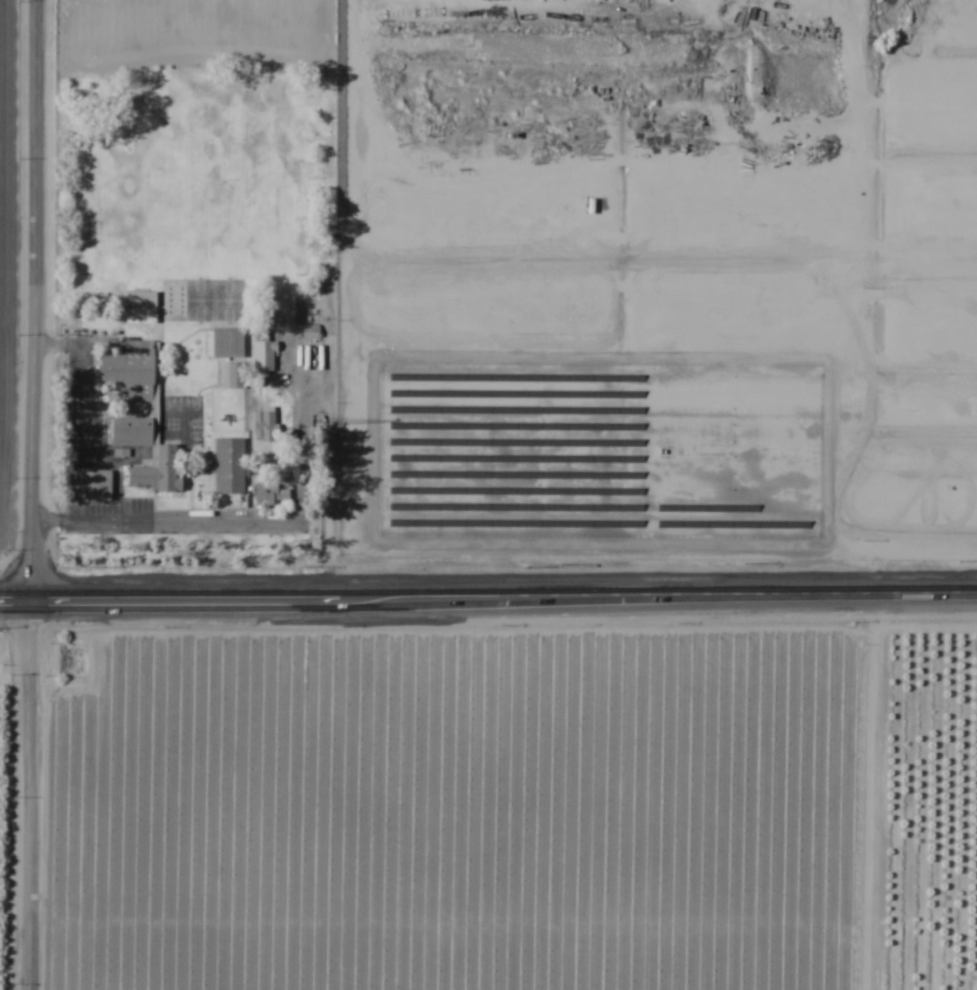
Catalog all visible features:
building: (281, 313)
building: (223, 343)
building: (261, 349)
building: (129, 372)
building: (231, 375)
road: (79, 381)
building: (263, 426)
building: (131, 432)
building: (228, 466)
building: (158, 472)
building: (101, 485)
building: (269, 493)
road: (26, 495)
road: (488, 596)
crop: (488, 801)

